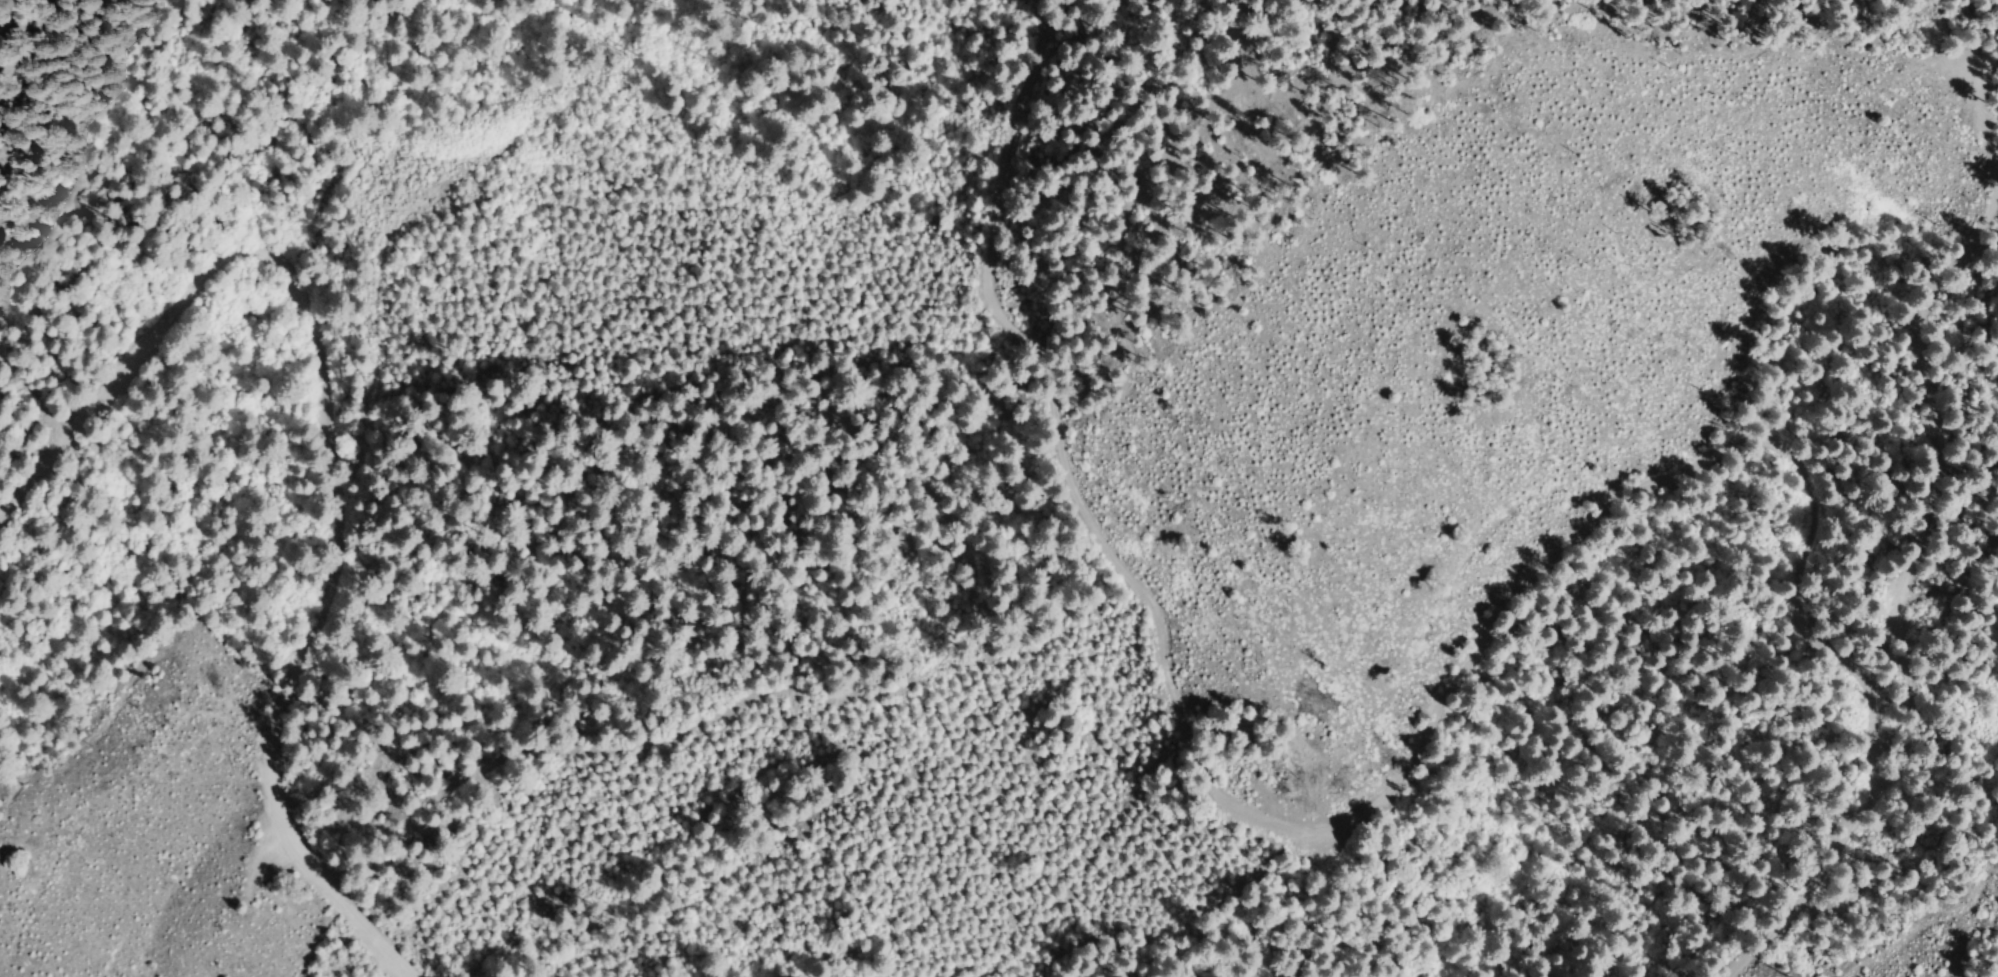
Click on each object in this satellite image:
road: (1878, 731)
road: (345, 896)

